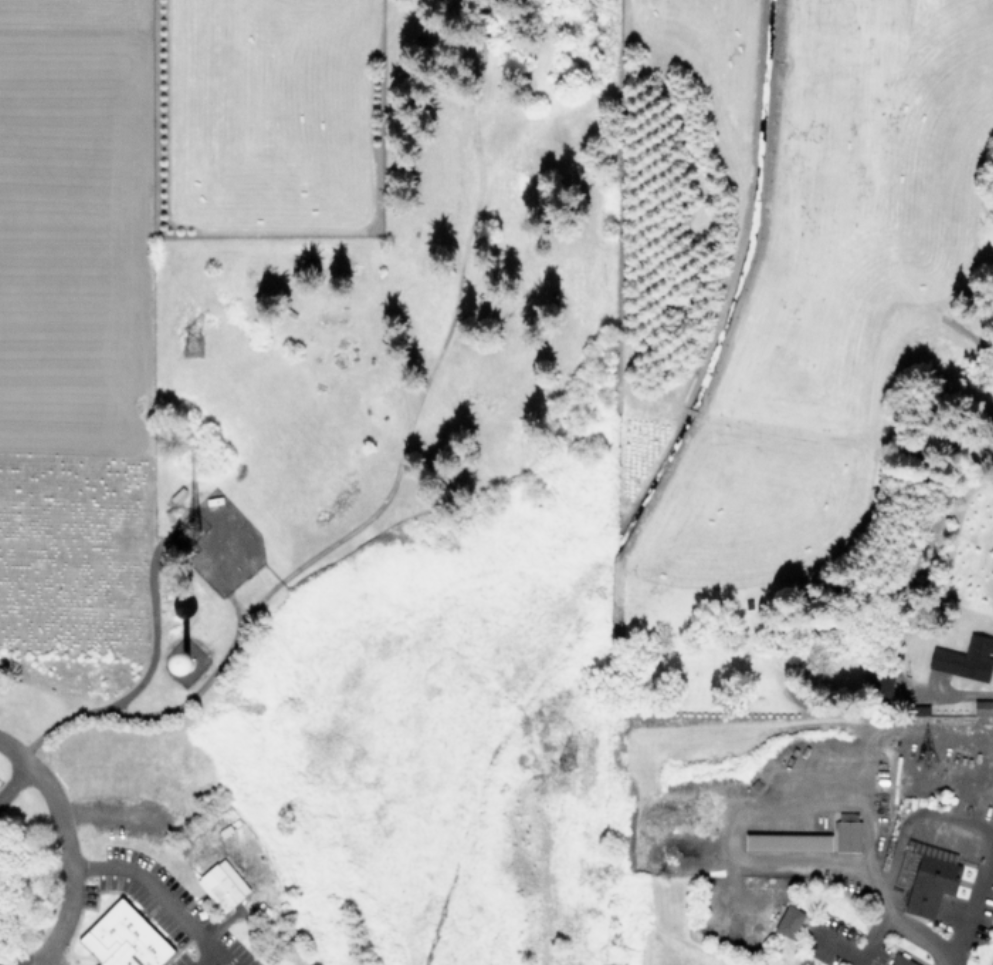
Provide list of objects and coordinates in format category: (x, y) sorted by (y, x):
power tower: (190, 346)
water tower: (230, 548)
building: (965, 658)
water tower: (188, 665)
road: (986, 693)
building: (982, 707)
road: (870, 733)
power tower: (922, 753)
power tower: (571, 754)
road: (19, 784)
building: (847, 835)
road: (992, 838)
building: (787, 841)
road: (73, 850)
road: (744, 858)
road: (982, 869)
building: (925, 877)
building: (222, 884)
road: (158, 892)
parking lot: (160, 905)
building: (788, 920)
road: (221, 923)
road: (882, 929)
building: (124, 938)
road: (216, 953)
building: (901, 960)

